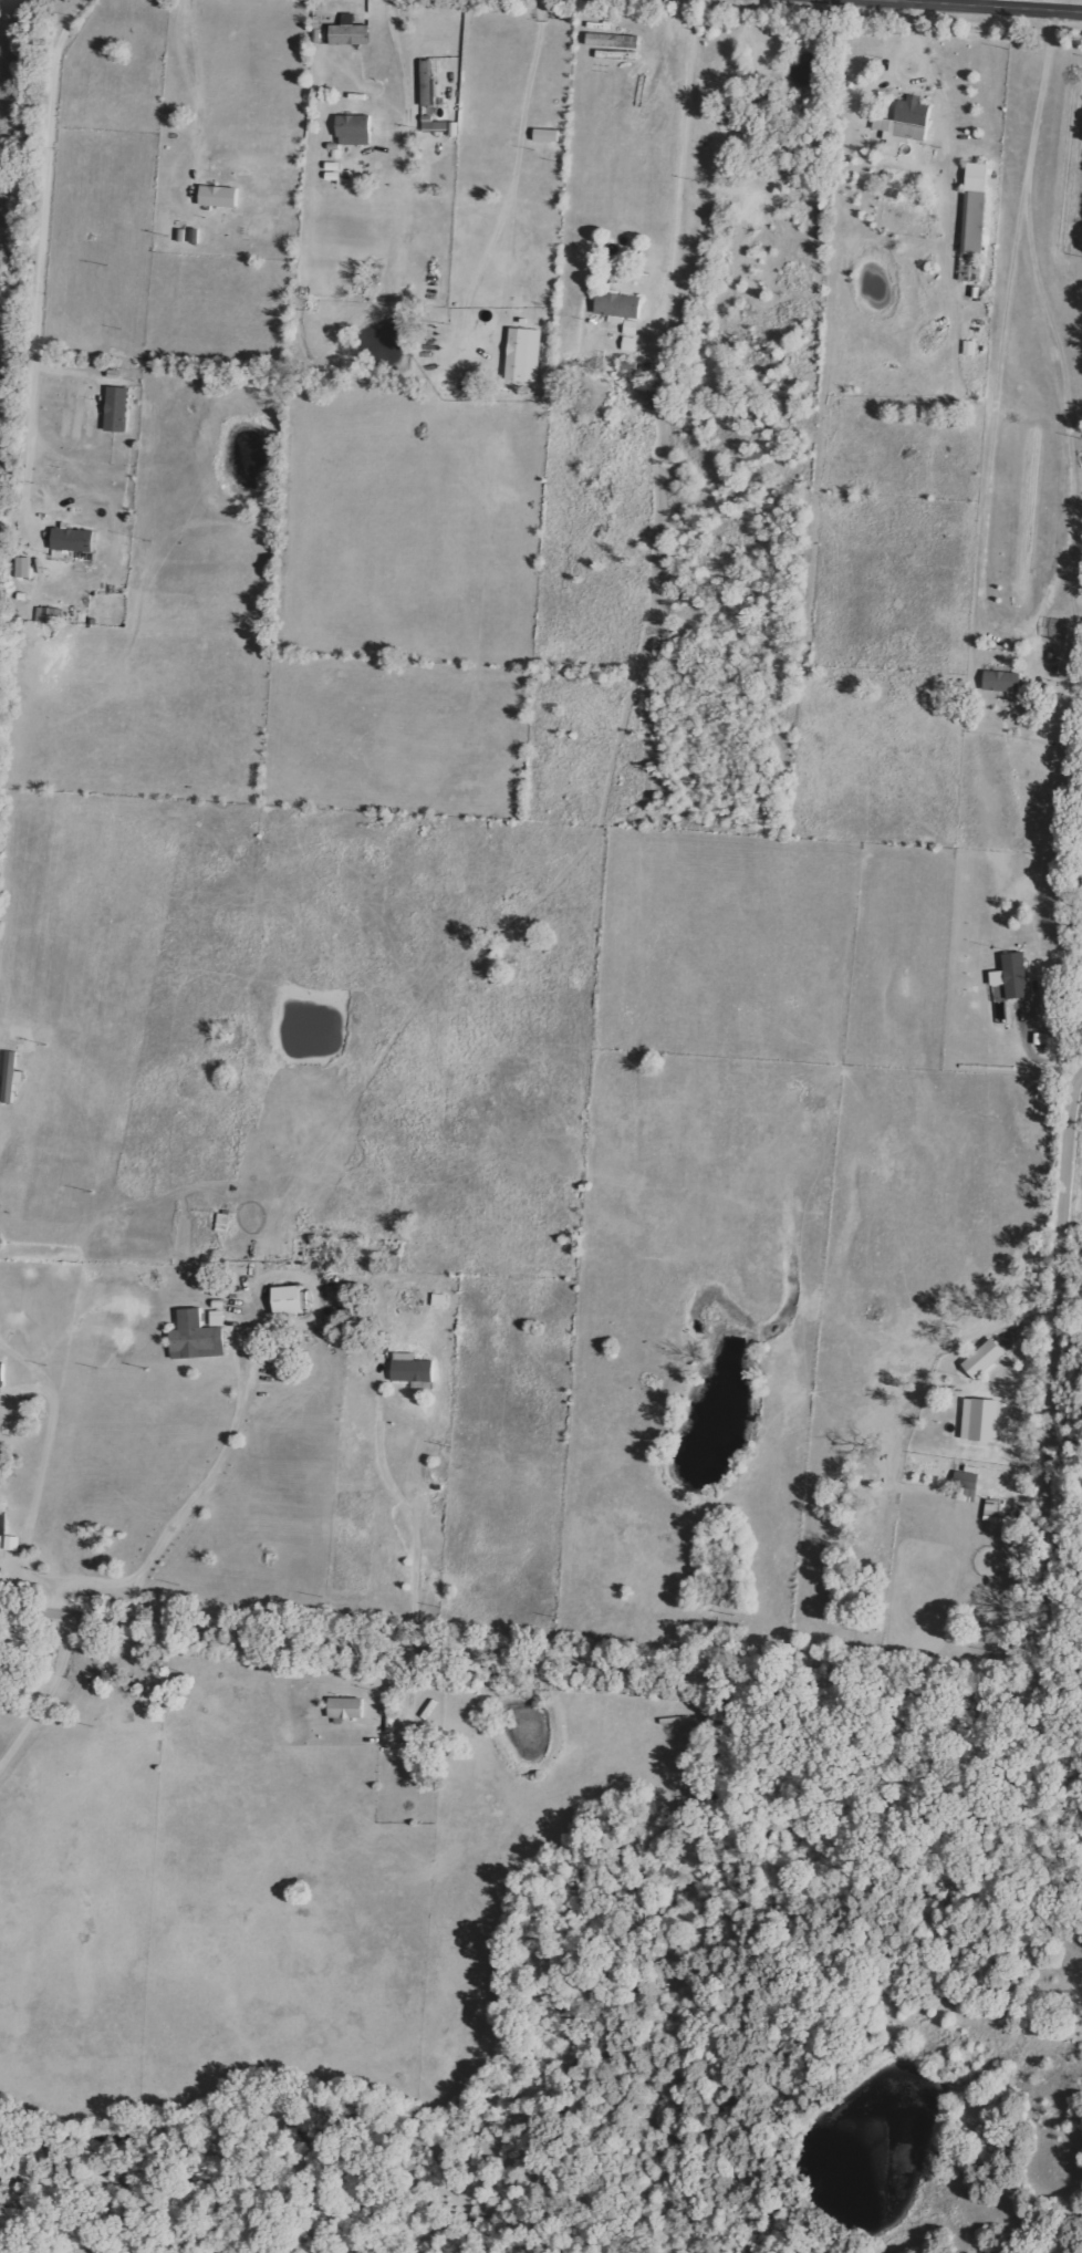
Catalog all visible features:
road: (982, 6)
building: (350, 34)
building: (614, 34)
road: (400, 58)
road: (195, 85)
building: (904, 124)
building: (354, 129)
building: (545, 135)
road: (683, 163)
road: (517, 175)
building: (219, 196)
building: (975, 208)
road: (38, 261)
building: (618, 305)
building: (631, 328)
building: (630, 344)
building: (523, 355)
building: (116, 409)
building: (73, 540)
road: (989, 556)
building: (23, 567)
building: (54, 615)
building: (1001, 682)
building: (1016, 975)
building: (1041, 1038)
road: (1039, 1042)
building: (289, 1299)
building: (439, 1300)
building: (217, 1318)
building: (196, 1337)
building: (984, 1358)
building: (410, 1368)
building: (1, 1374)
building: (1024, 1378)
building: (980, 1419)
road: (227, 1454)
road: (43, 1472)
building: (966, 1479)
road: (416, 1514)
road: (779, 1685)
road: (60, 1693)
building: (346, 1707)

